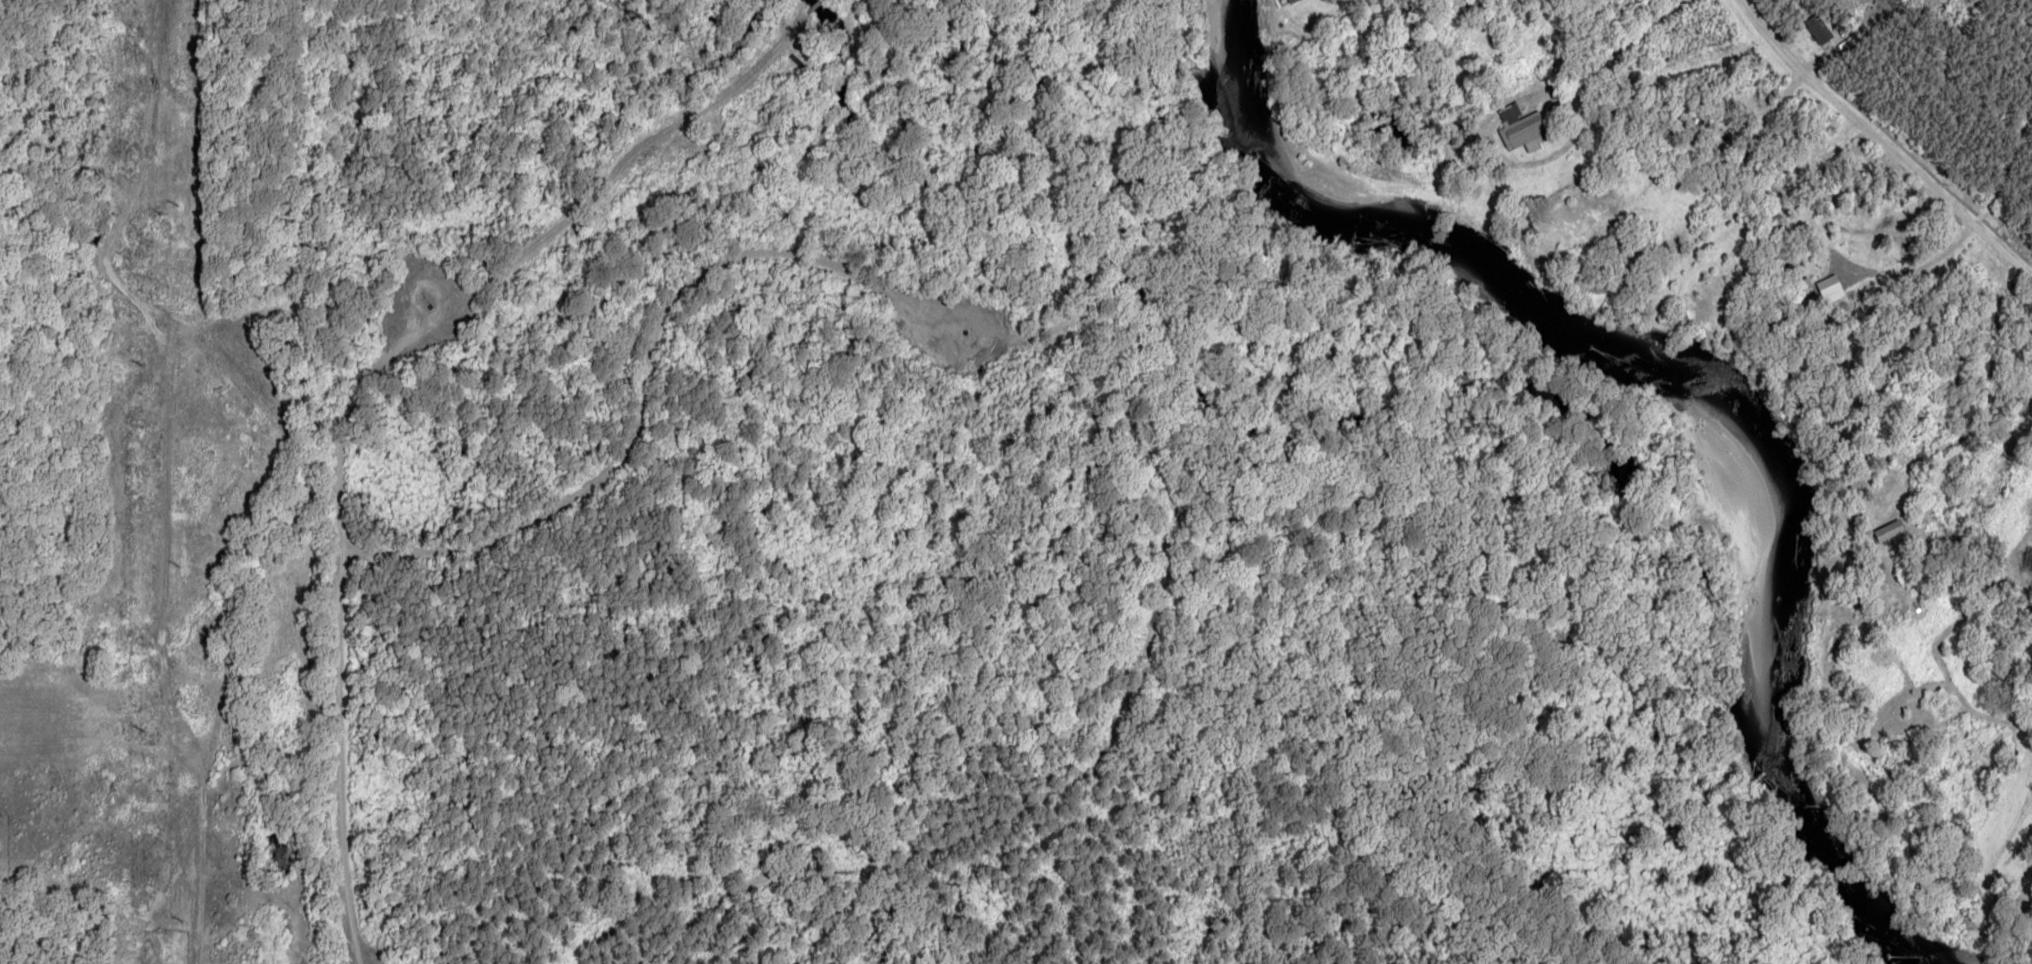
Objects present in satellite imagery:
building: (1291, 1)
building: (1818, 29)
building: (1522, 129)
building: (1830, 290)
road: (397, 382)
road: (625, 400)
building: (1889, 530)

